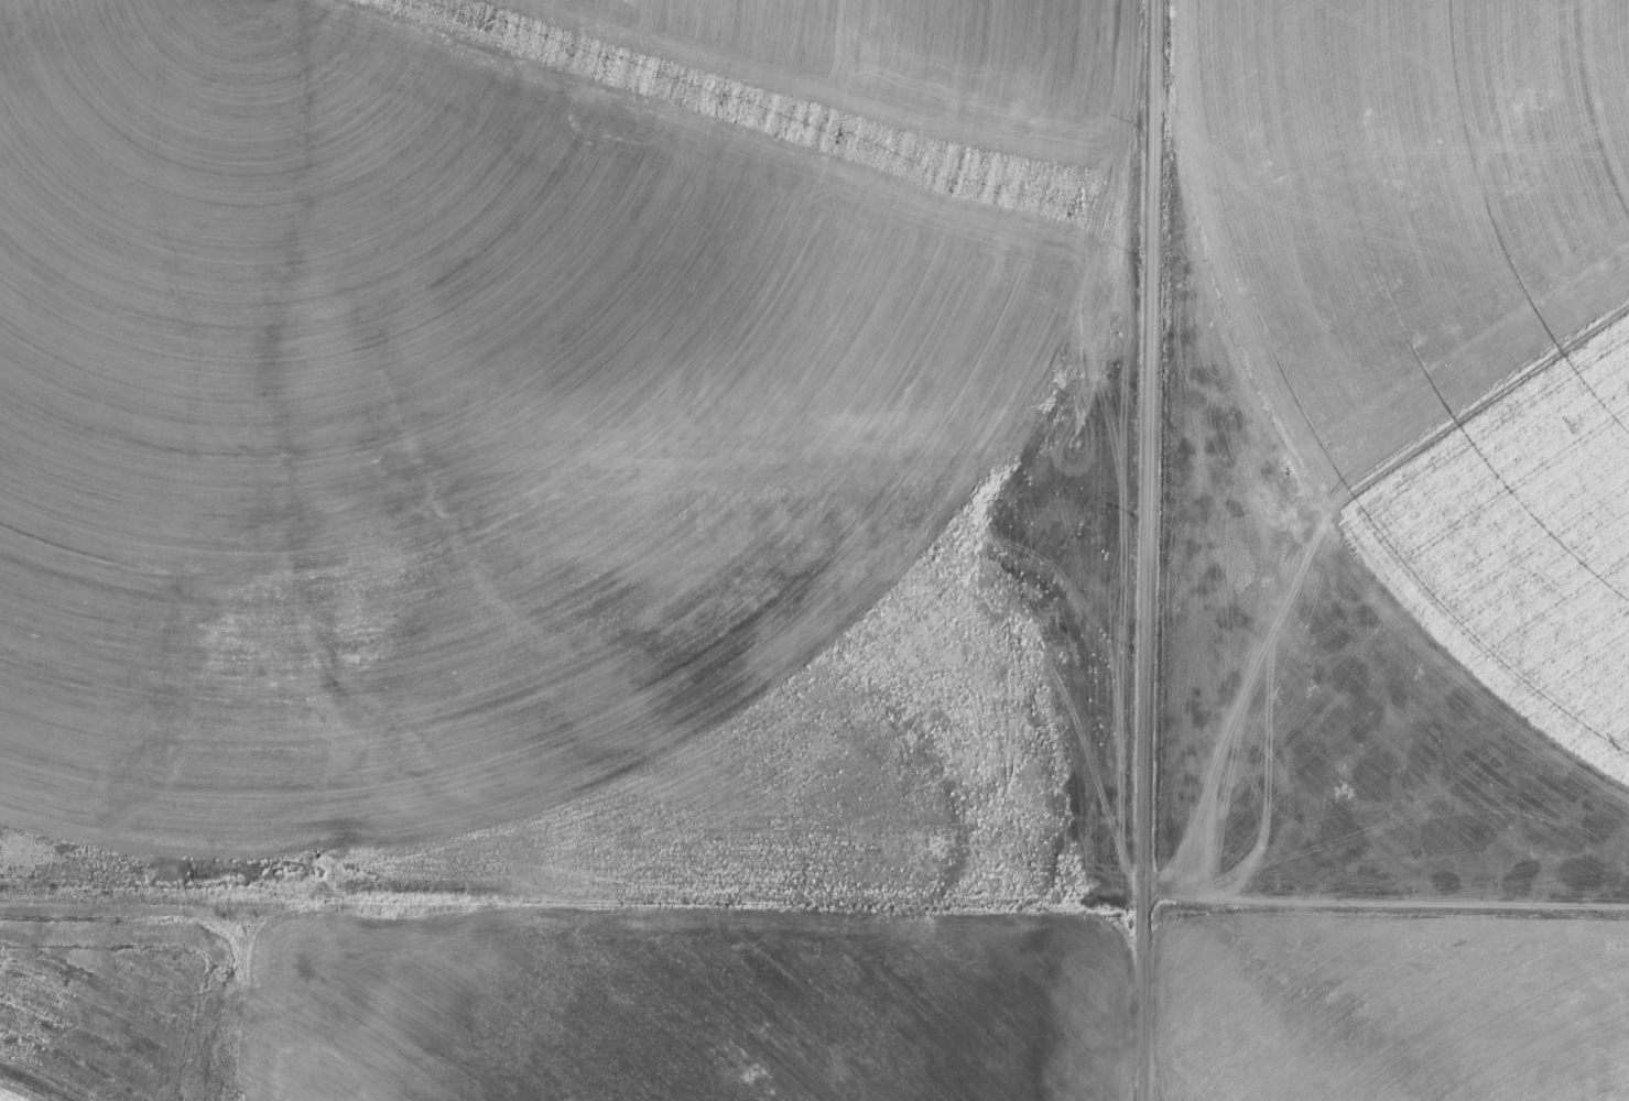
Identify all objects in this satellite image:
road: (1147, 550)

